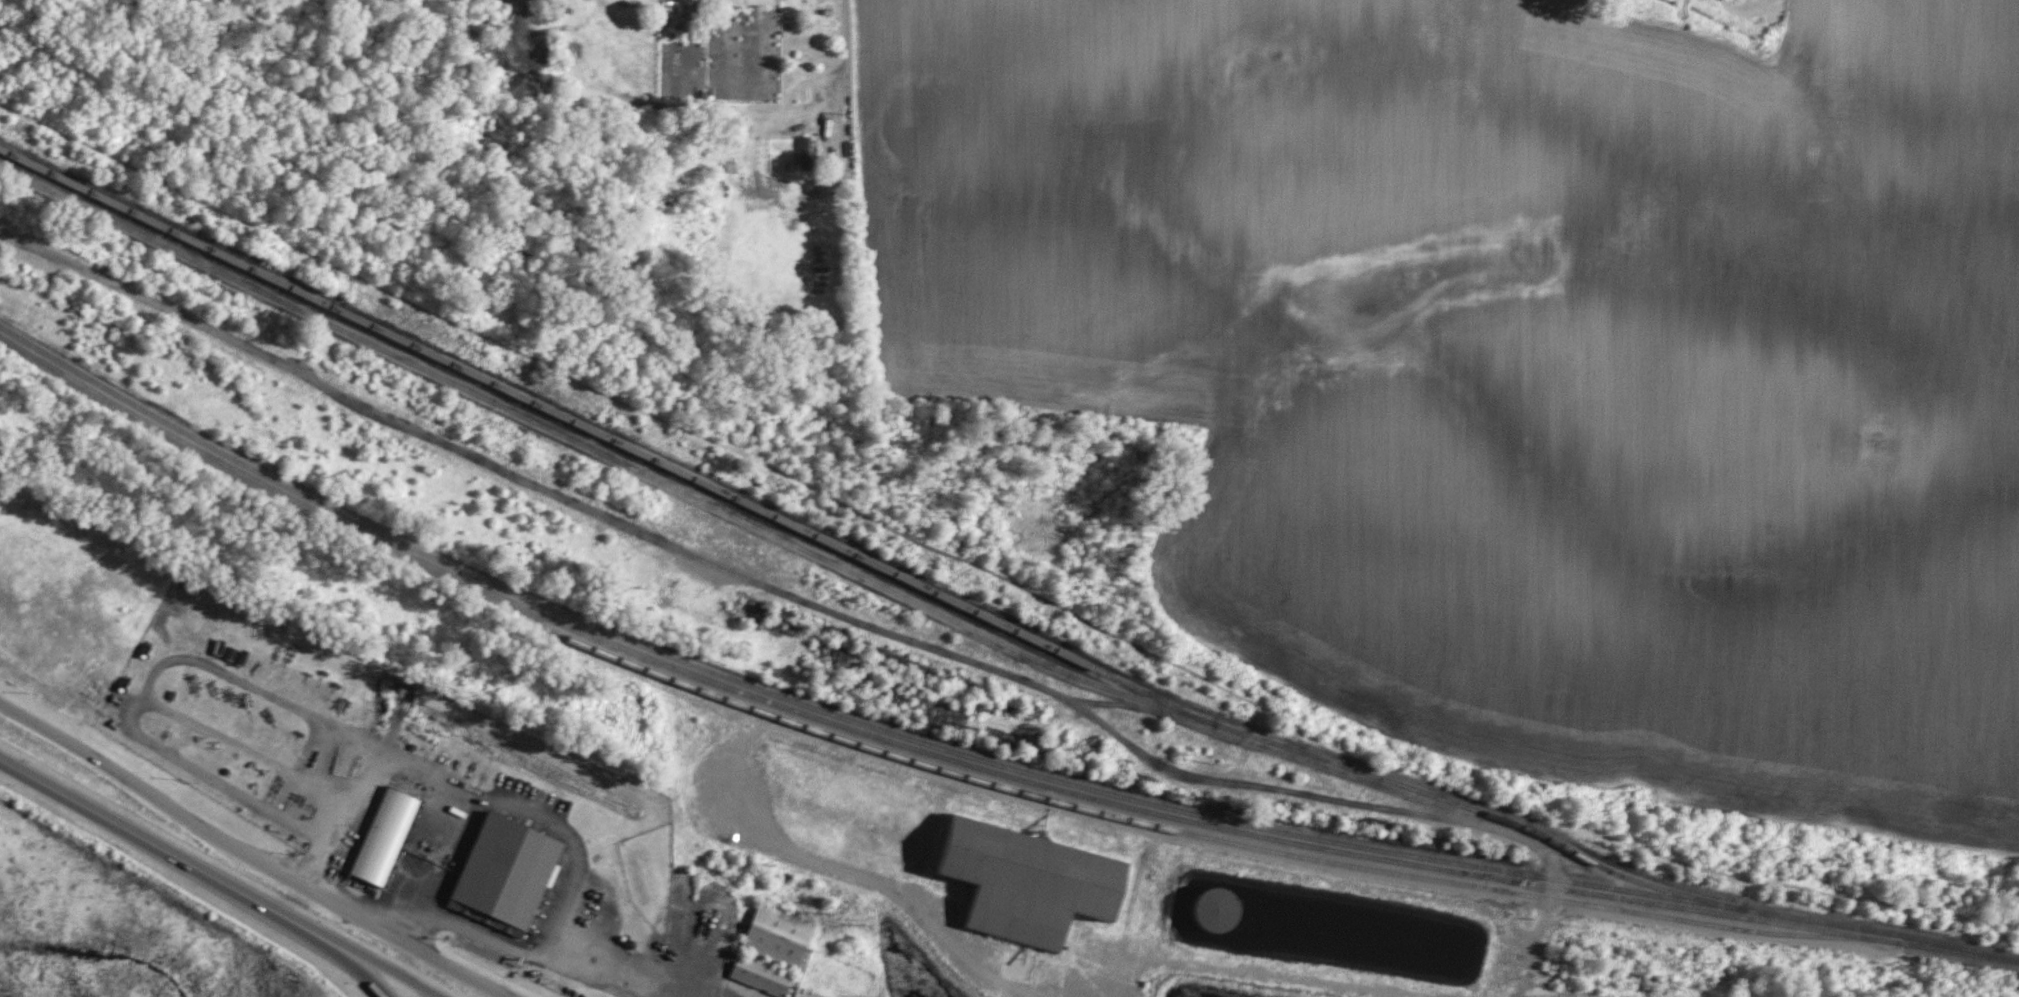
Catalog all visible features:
road: (847, 125)
building: (807, 155)
railway: (858, 557)
road: (833, 607)
railway: (972, 758)
road: (337, 819)
building: (386, 834)
railway: (858, 836)
road: (157, 847)
building: (508, 872)
road: (580, 875)
building: (1033, 880)
building: (1223, 906)
building: (779, 936)
road: (374, 961)
road: (350, 964)
road: (648, 972)
building: (807, 993)

